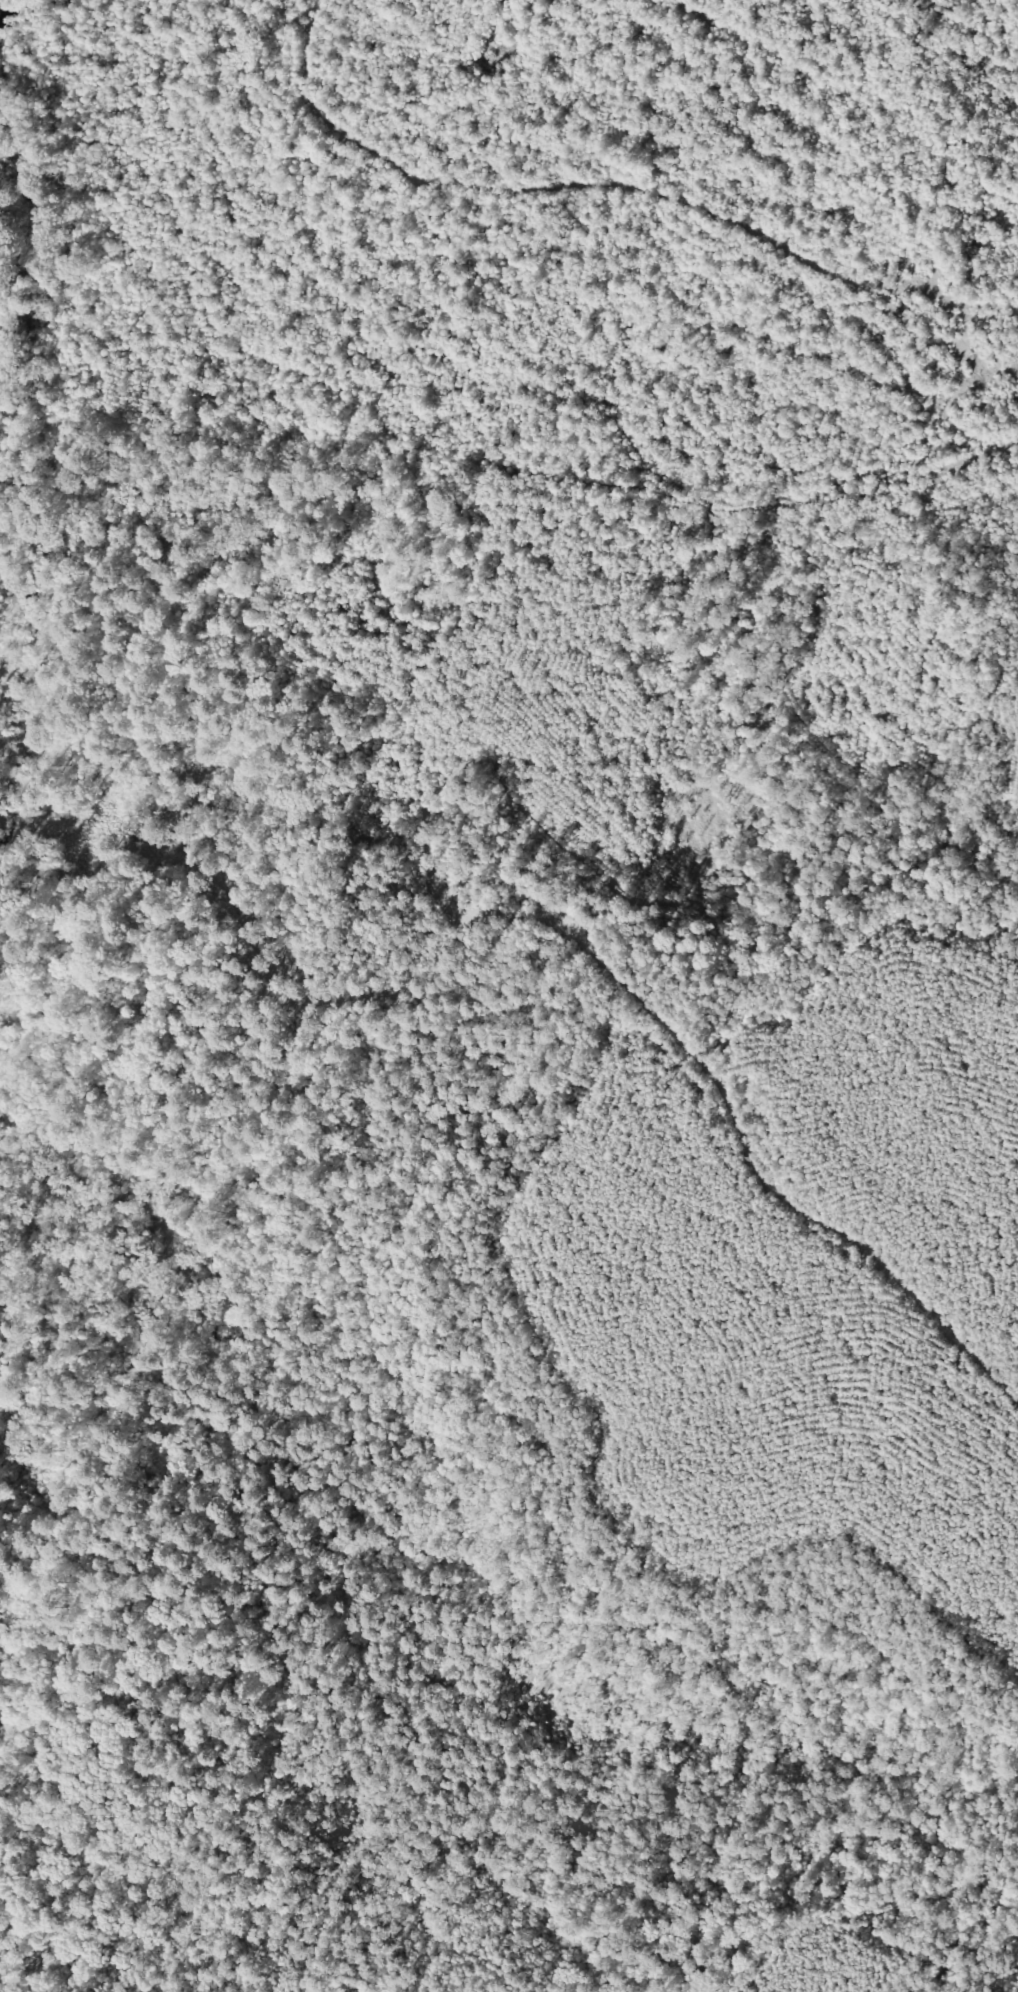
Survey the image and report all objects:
road: (725, 174)
road: (866, 664)

